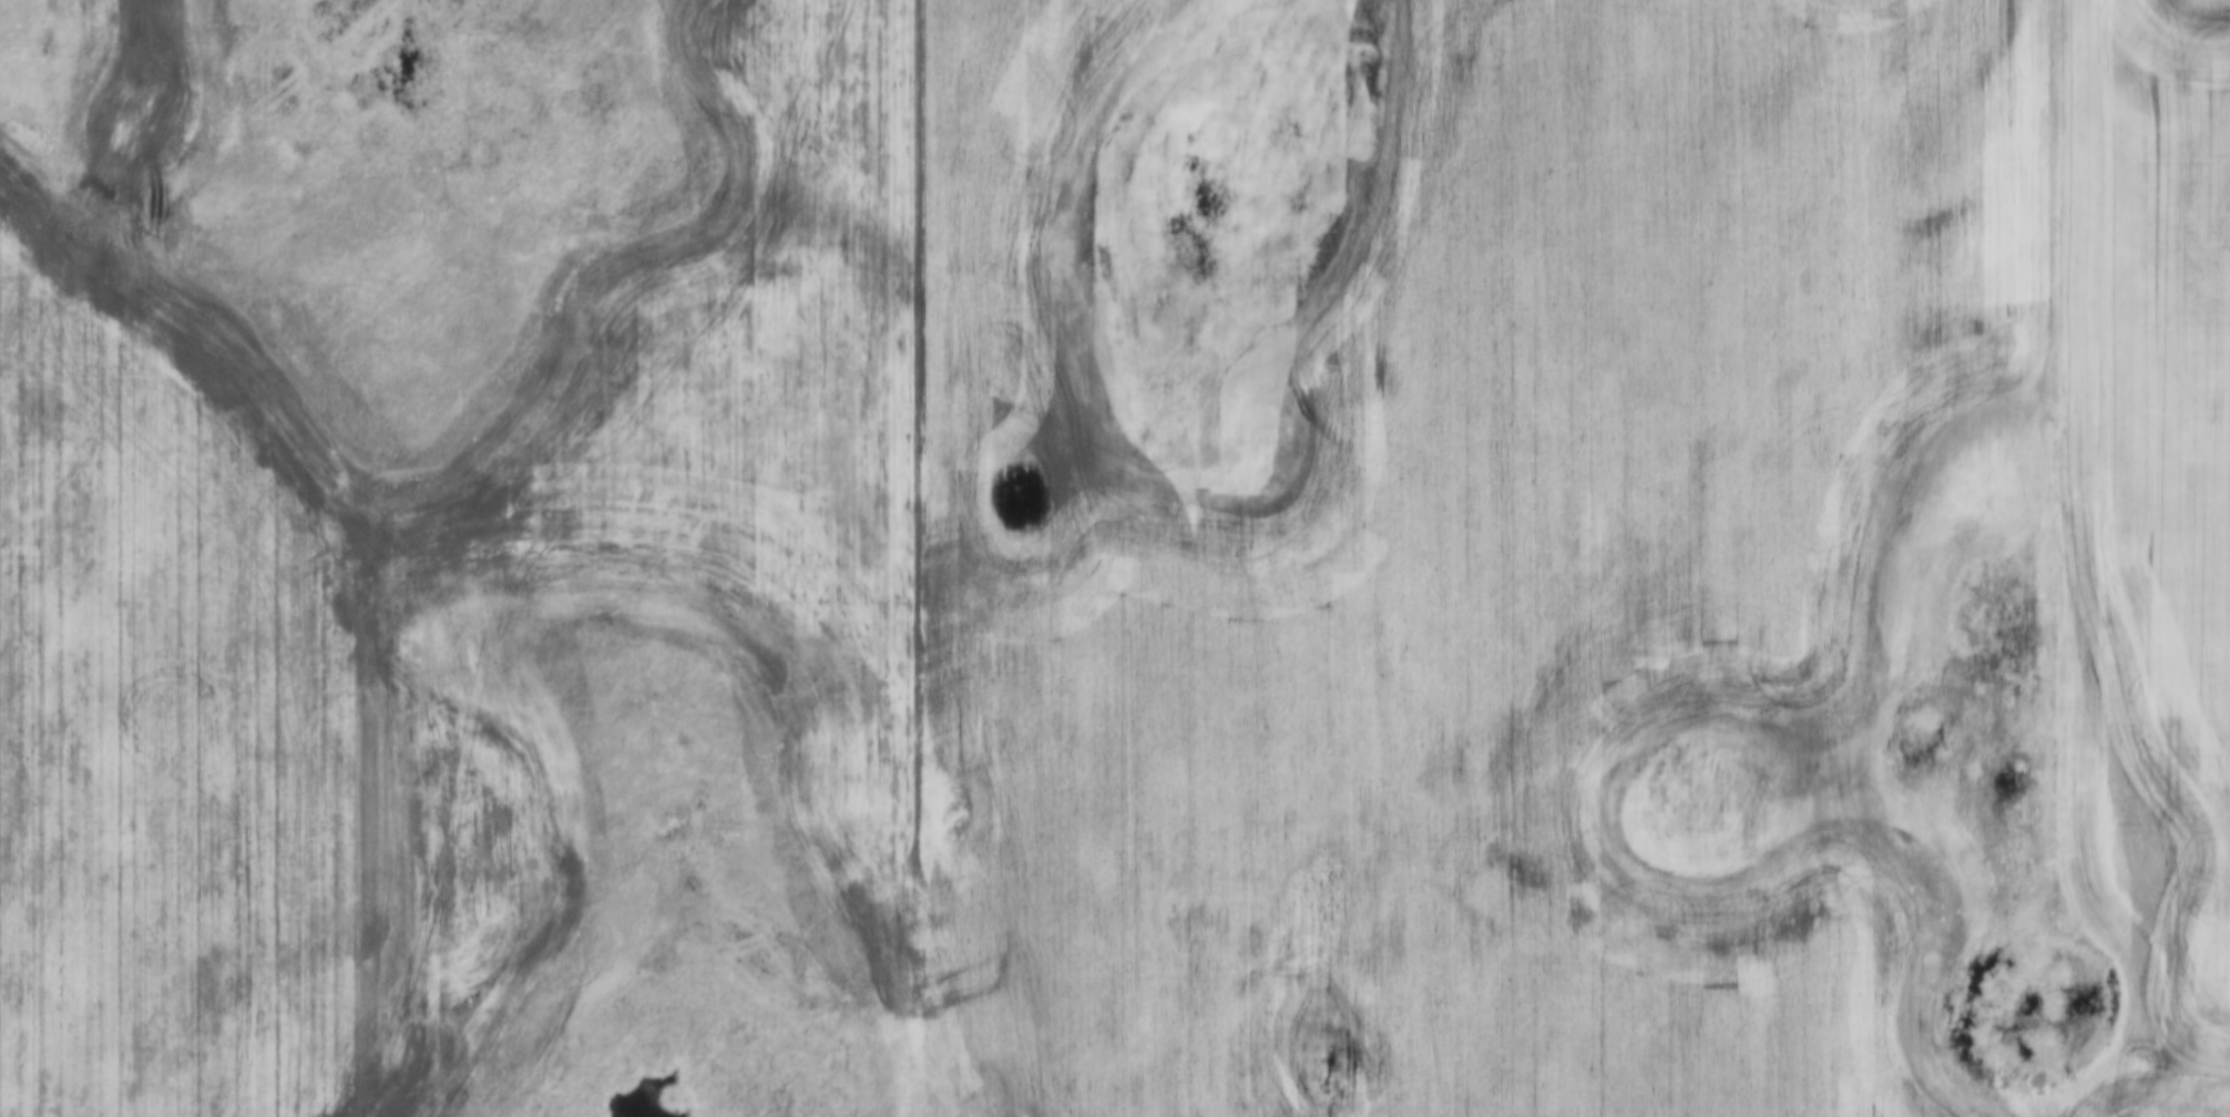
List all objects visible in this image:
road: (2064, 572)

